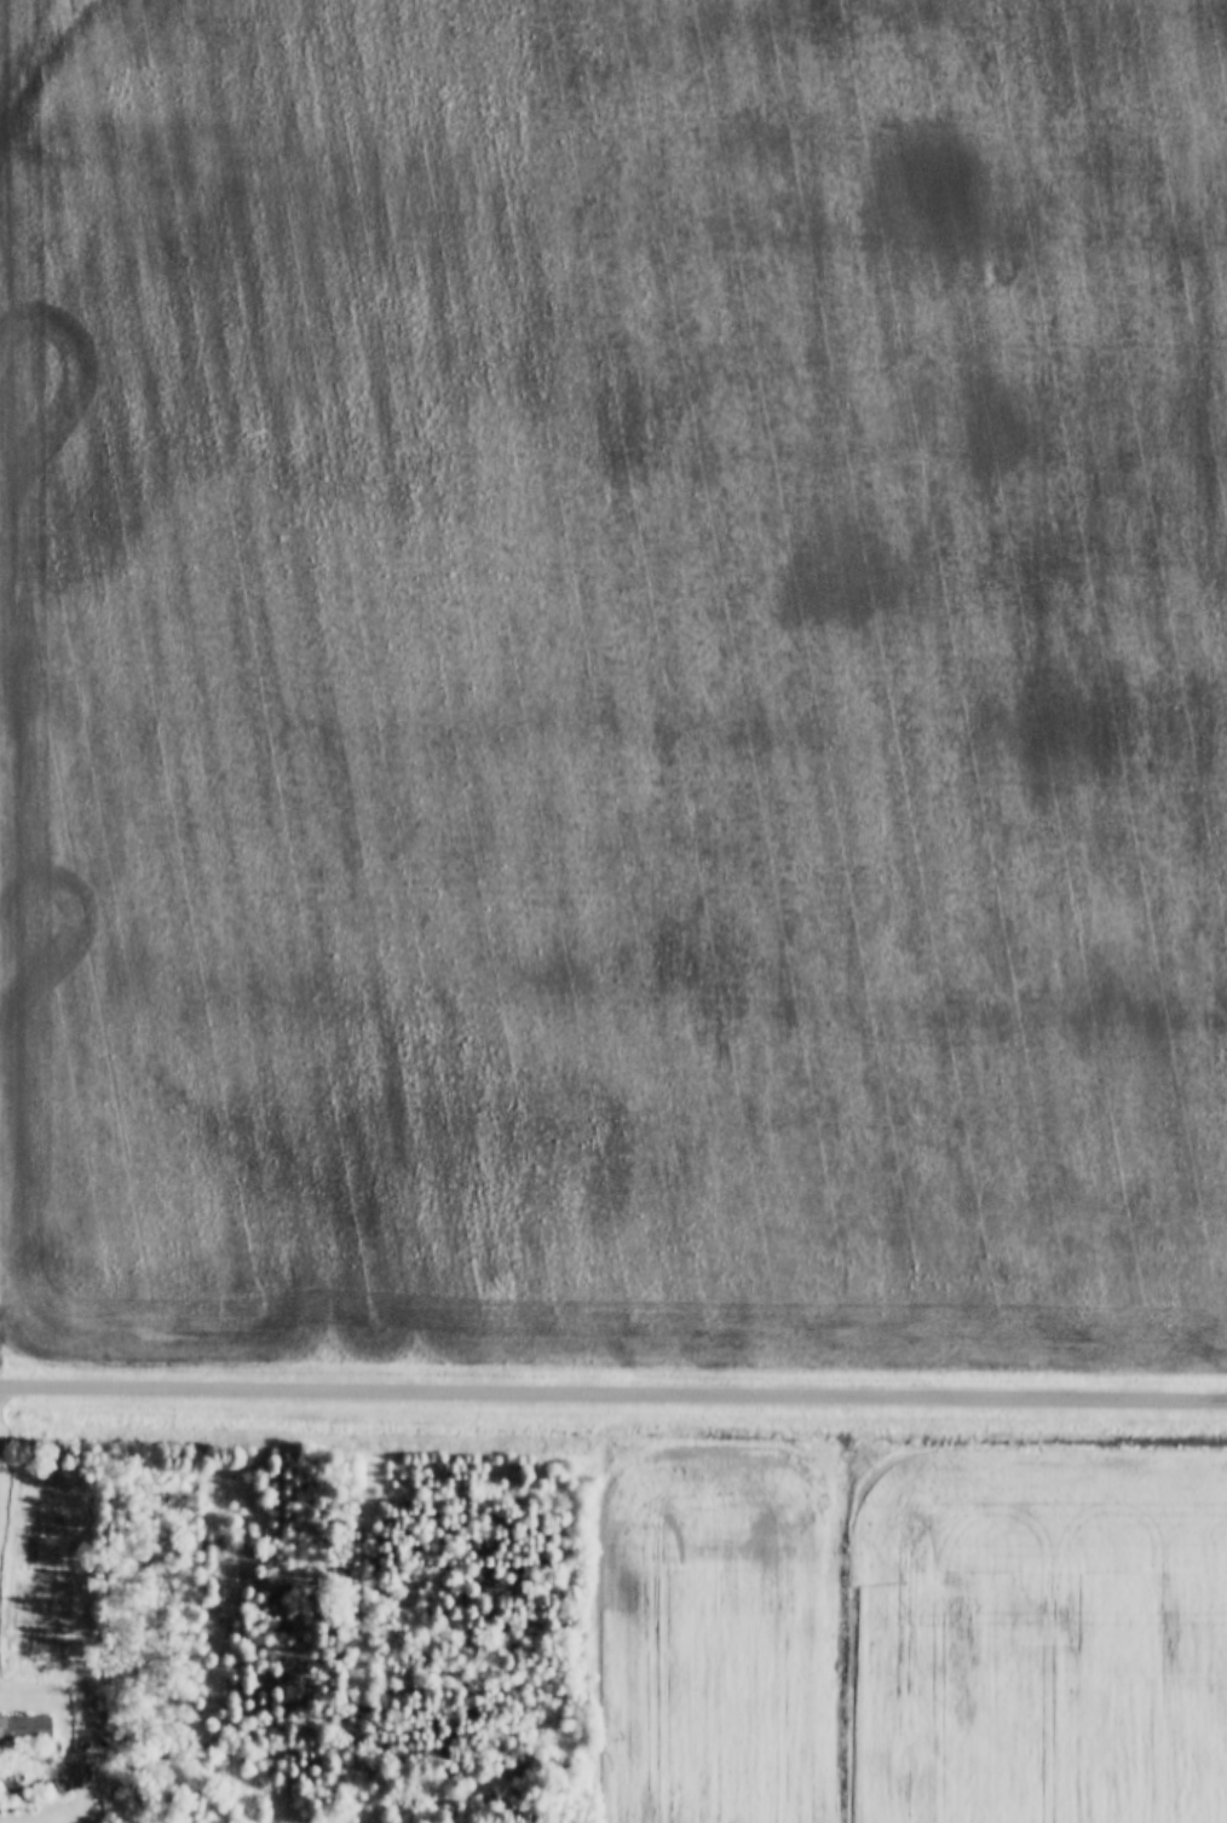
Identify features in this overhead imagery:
road: (612, 1396)
building: (23, 1730)

